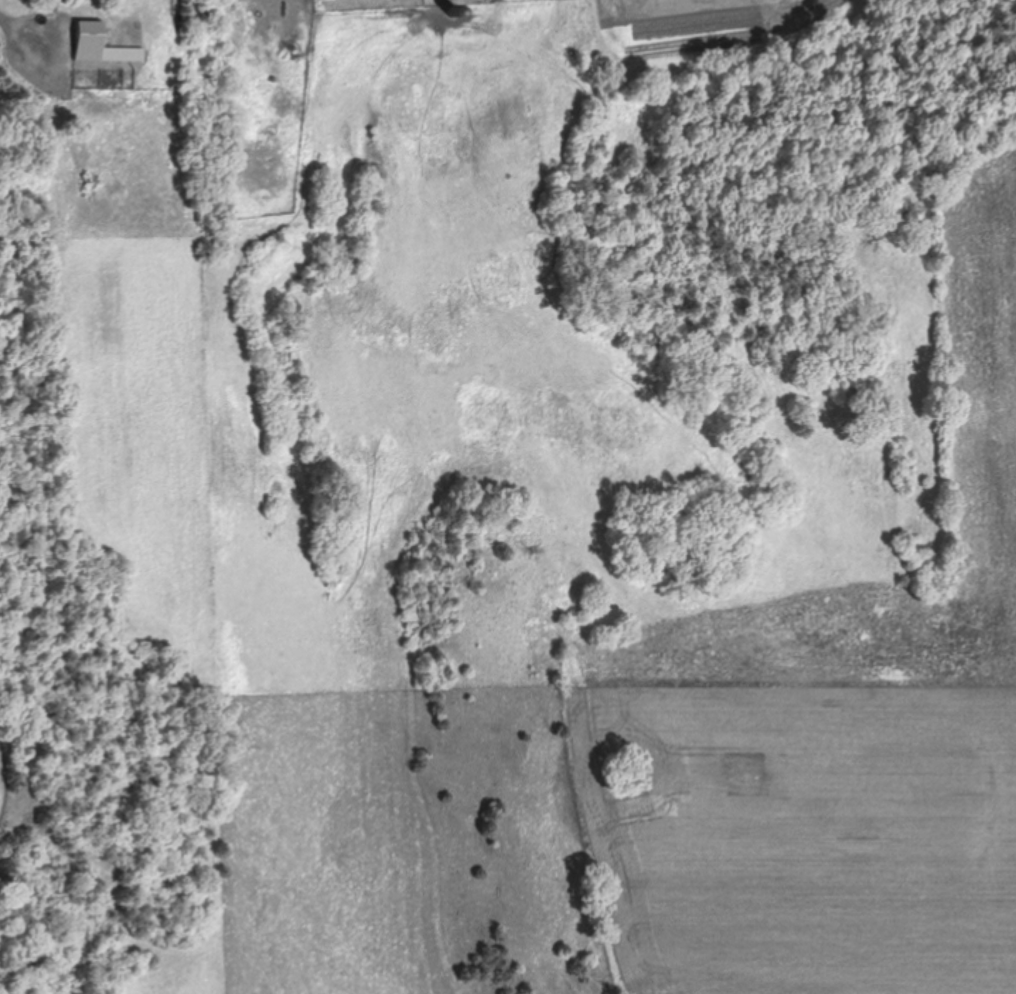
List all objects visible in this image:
building: (103, 45)

